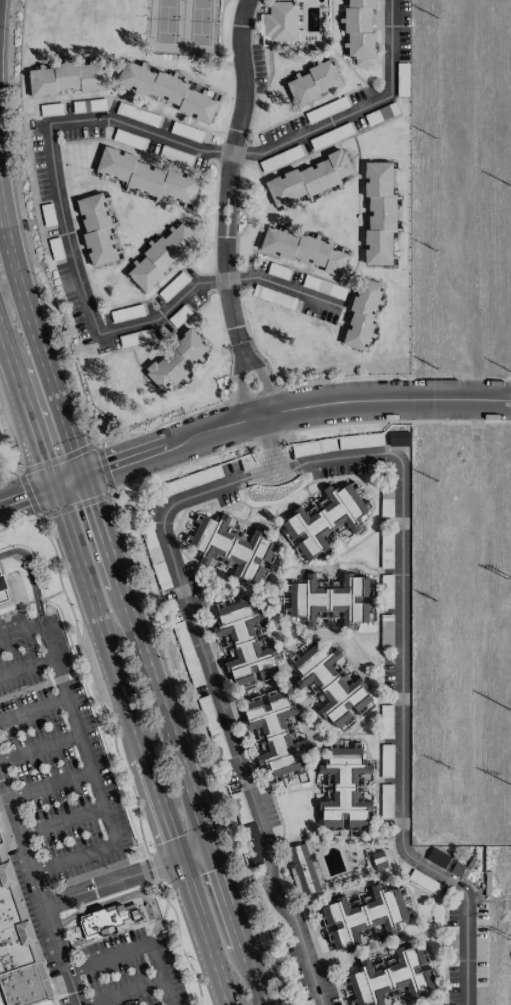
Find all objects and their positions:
building: (280, 21)
building: (359, 31)
building: (66, 78)
building: (314, 82)
building: (166, 90)
road: (353, 109)
road: (139, 129)
road: (228, 168)
building: (147, 177)
building: (309, 178)
building: (379, 213)
building: (96, 229)
road: (65, 231)
building: (303, 249)
building: (162, 255)
road: (283, 287)
road: (165, 312)
building: (362, 314)
road: (243, 346)
building: (177, 361)
road: (266, 384)
road: (242, 390)
road: (250, 425)
road: (272, 445)
road: (304, 461)
road: (20, 469)
traffic signals: (81, 476)
traffic signals: (51, 486)
building: (324, 521)
building: (232, 548)
road: (30, 575)
building: (3, 590)
building: (331, 599)
road: (128, 608)
road: (22, 629)
building: (244, 643)
road: (110, 664)
road: (28, 667)
building: (331, 685)
road: (34, 706)
road: (81, 732)
building: (275, 733)
road: (41, 748)
road: (50, 784)
building: (343, 789)
road: (63, 821)
building: (2, 824)
building: (0, 840)
road: (195, 852)
road: (76, 858)
building: (380, 859)
building: (301, 869)
building: (5, 871)
road: (109, 881)
road: (39, 889)
road: (122, 897)
building: (11, 906)
building: (363, 915)
building: (110, 921)
building: (17, 946)
road: (109, 957)
road: (161, 974)
building: (391, 977)
building: (25, 984)
road: (121, 991)
building: (0, 1002)
building: (42, 1002)

